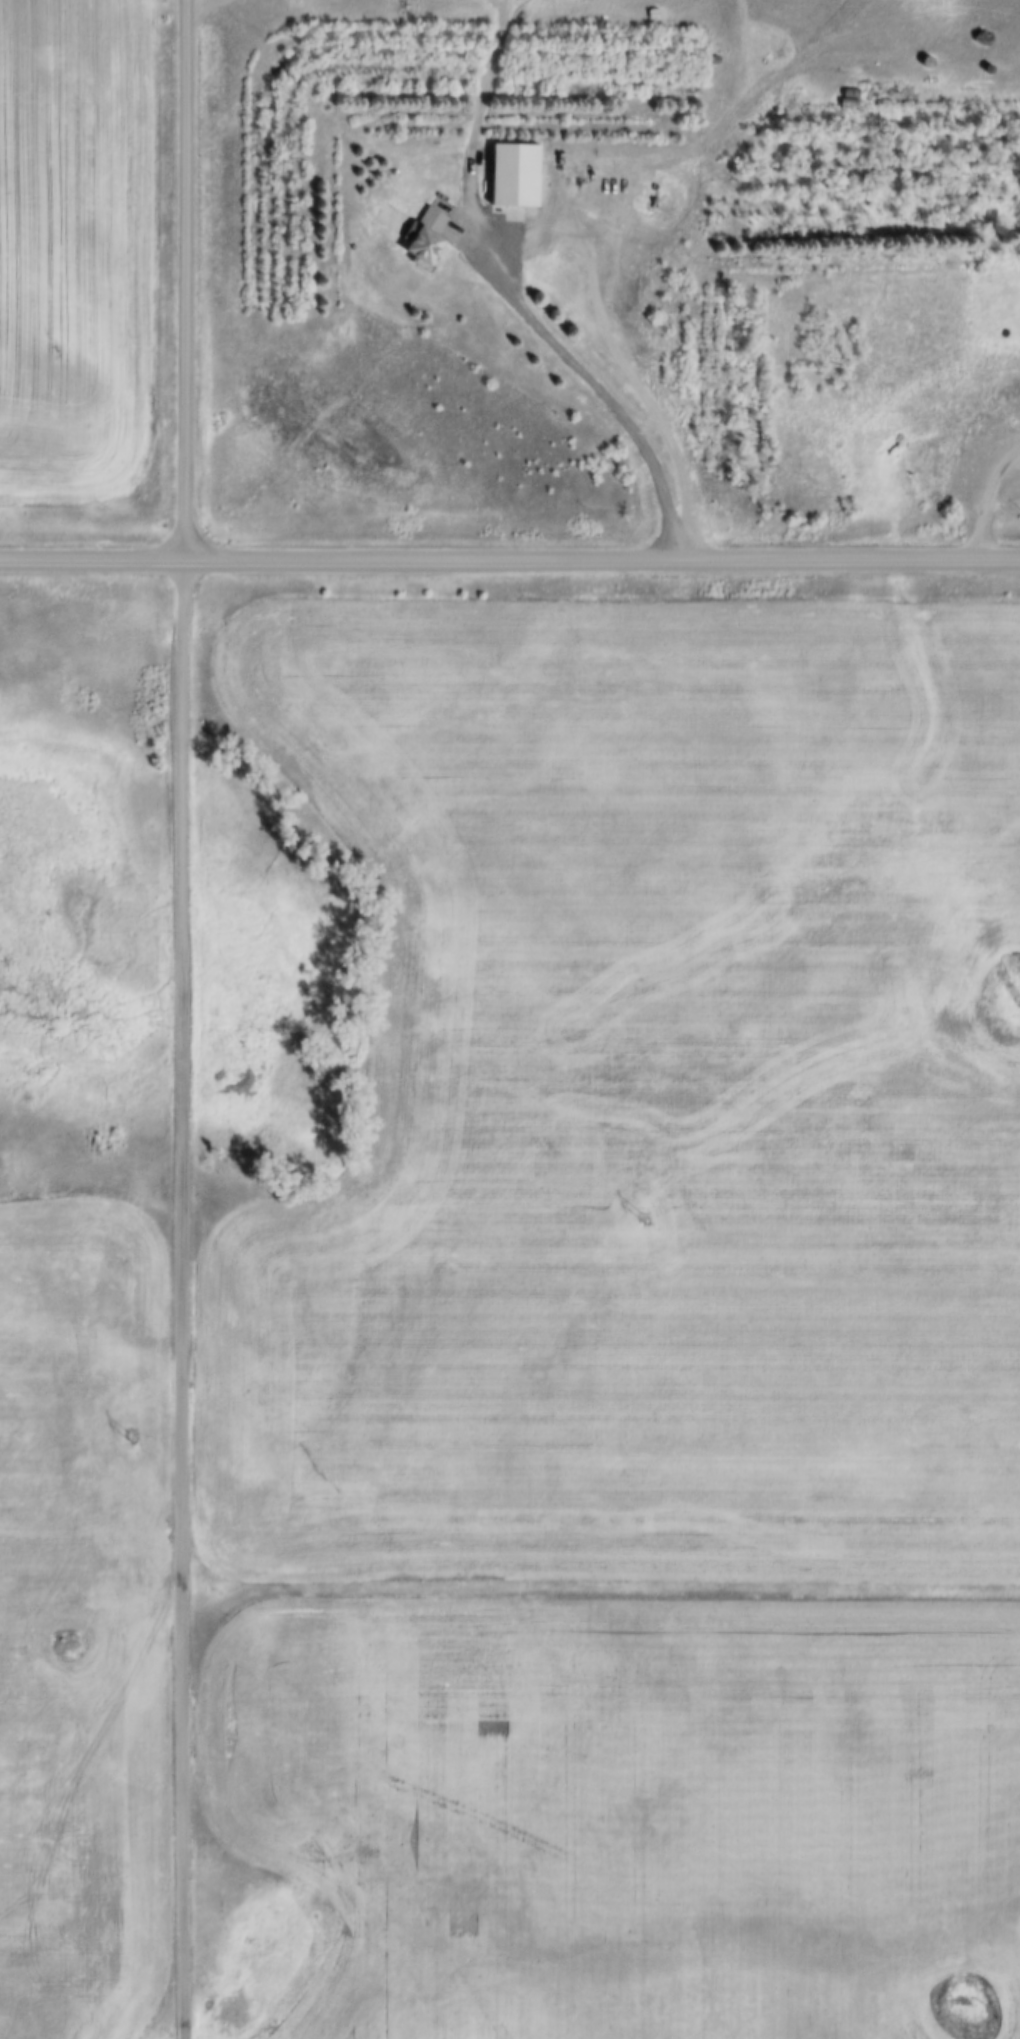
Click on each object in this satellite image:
building: (431, 218)
building: (419, 248)
road: (599, 389)
road: (987, 502)
road: (510, 560)
road: (182, 1019)
power tower: (641, 1217)
power tower: (129, 1437)

